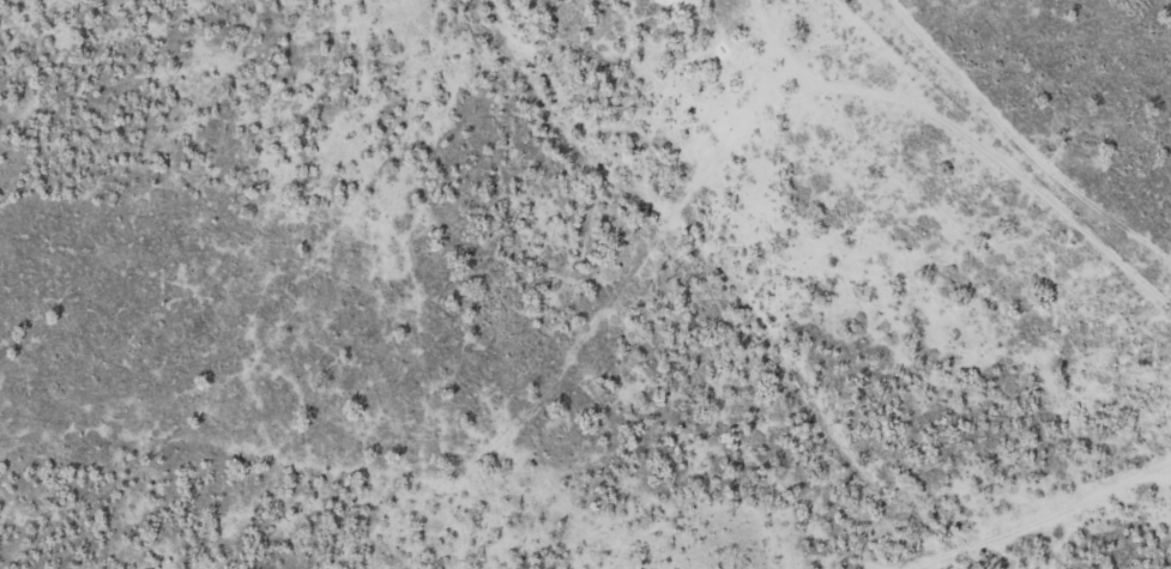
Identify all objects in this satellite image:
road: (1002, 143)

